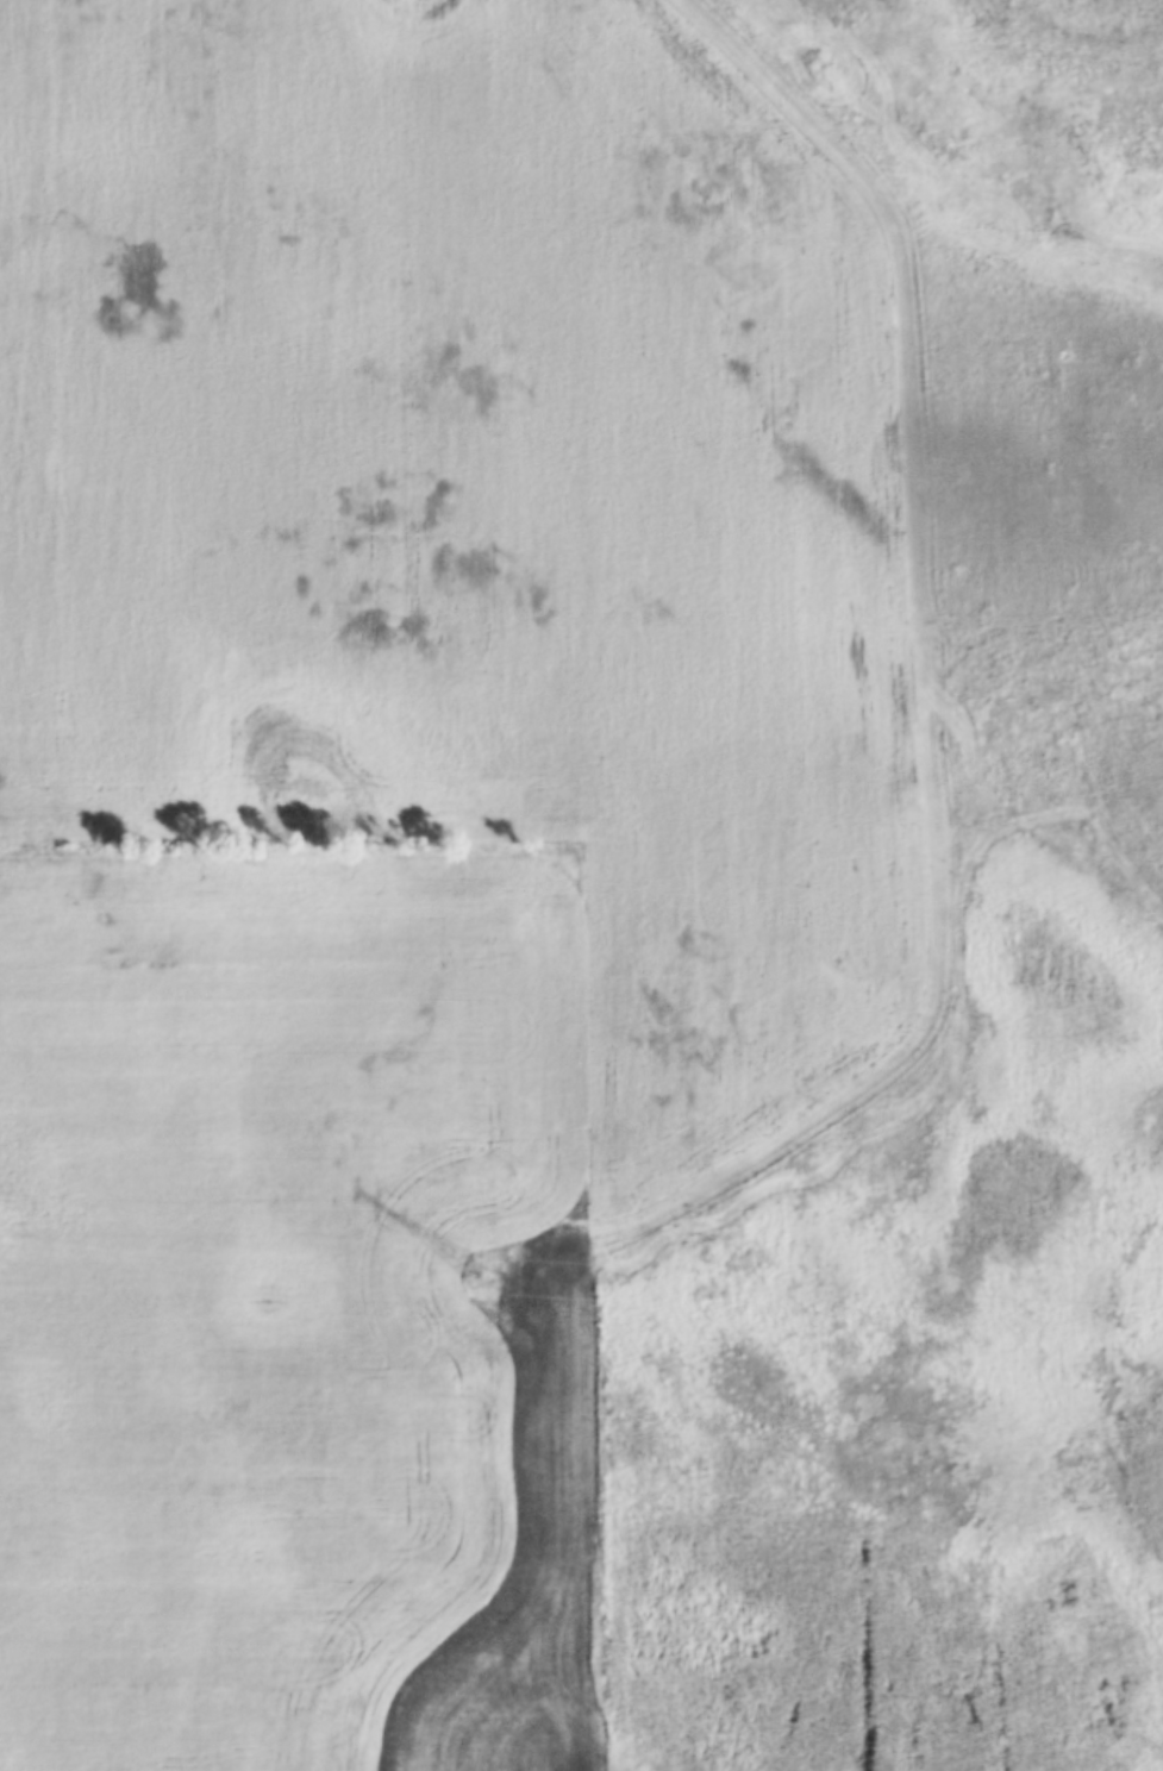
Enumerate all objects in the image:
power tower: (474, 1270)

